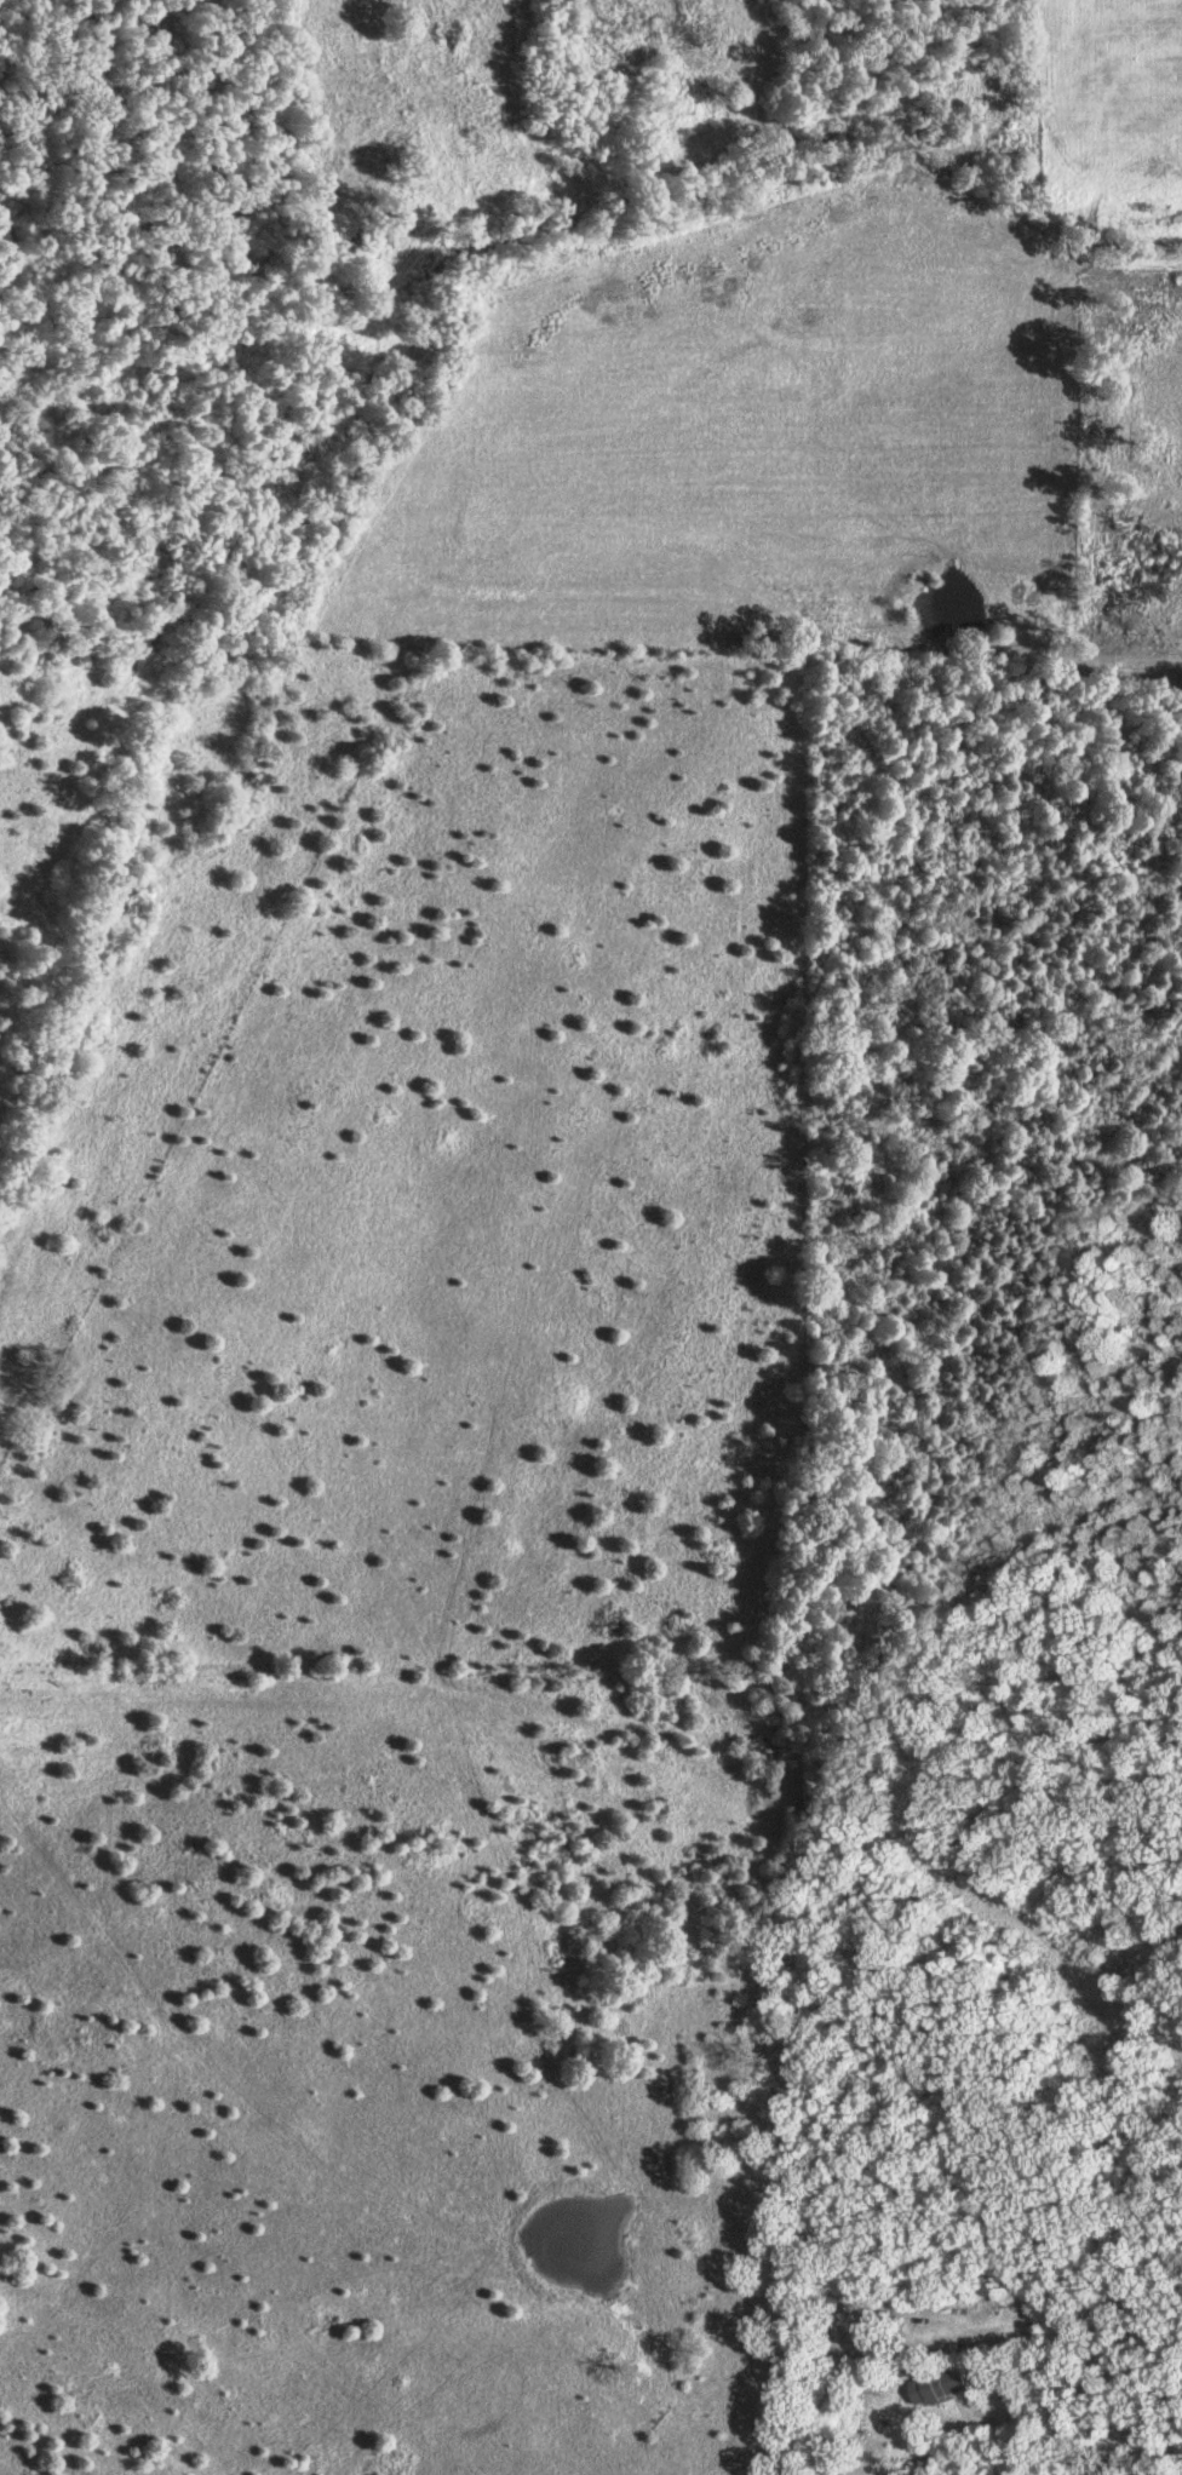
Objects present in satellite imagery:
building: (924, 2385)
road: (988, 2434)

